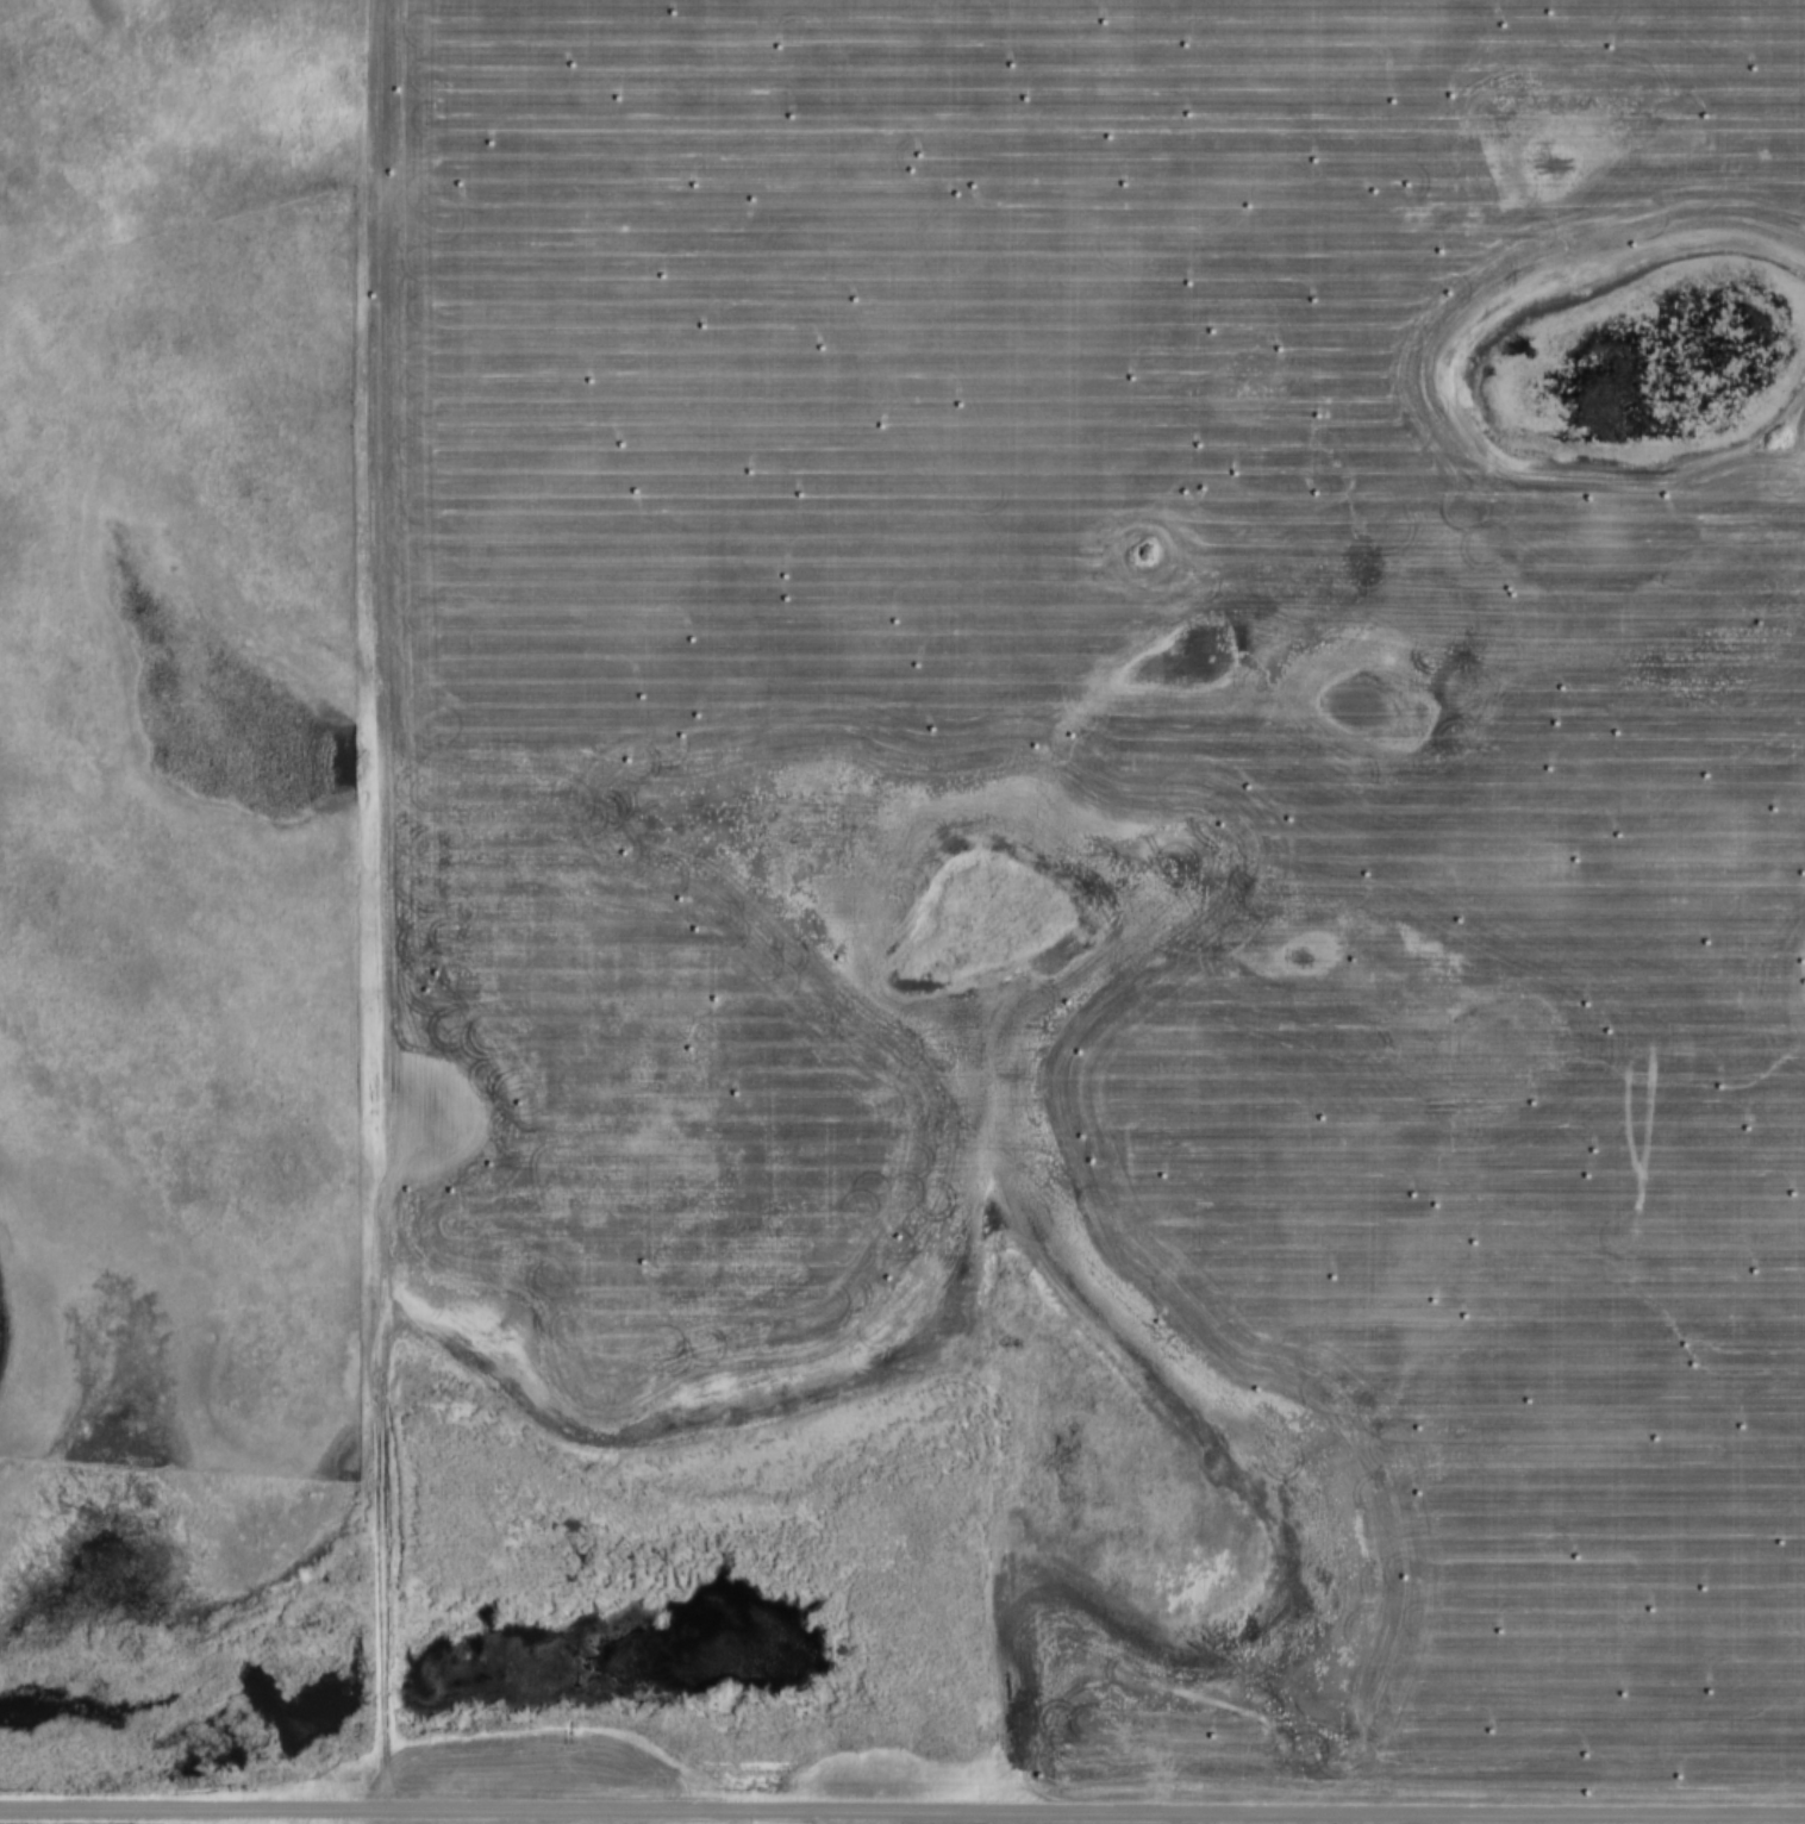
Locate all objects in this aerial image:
road: (901, 1807)

